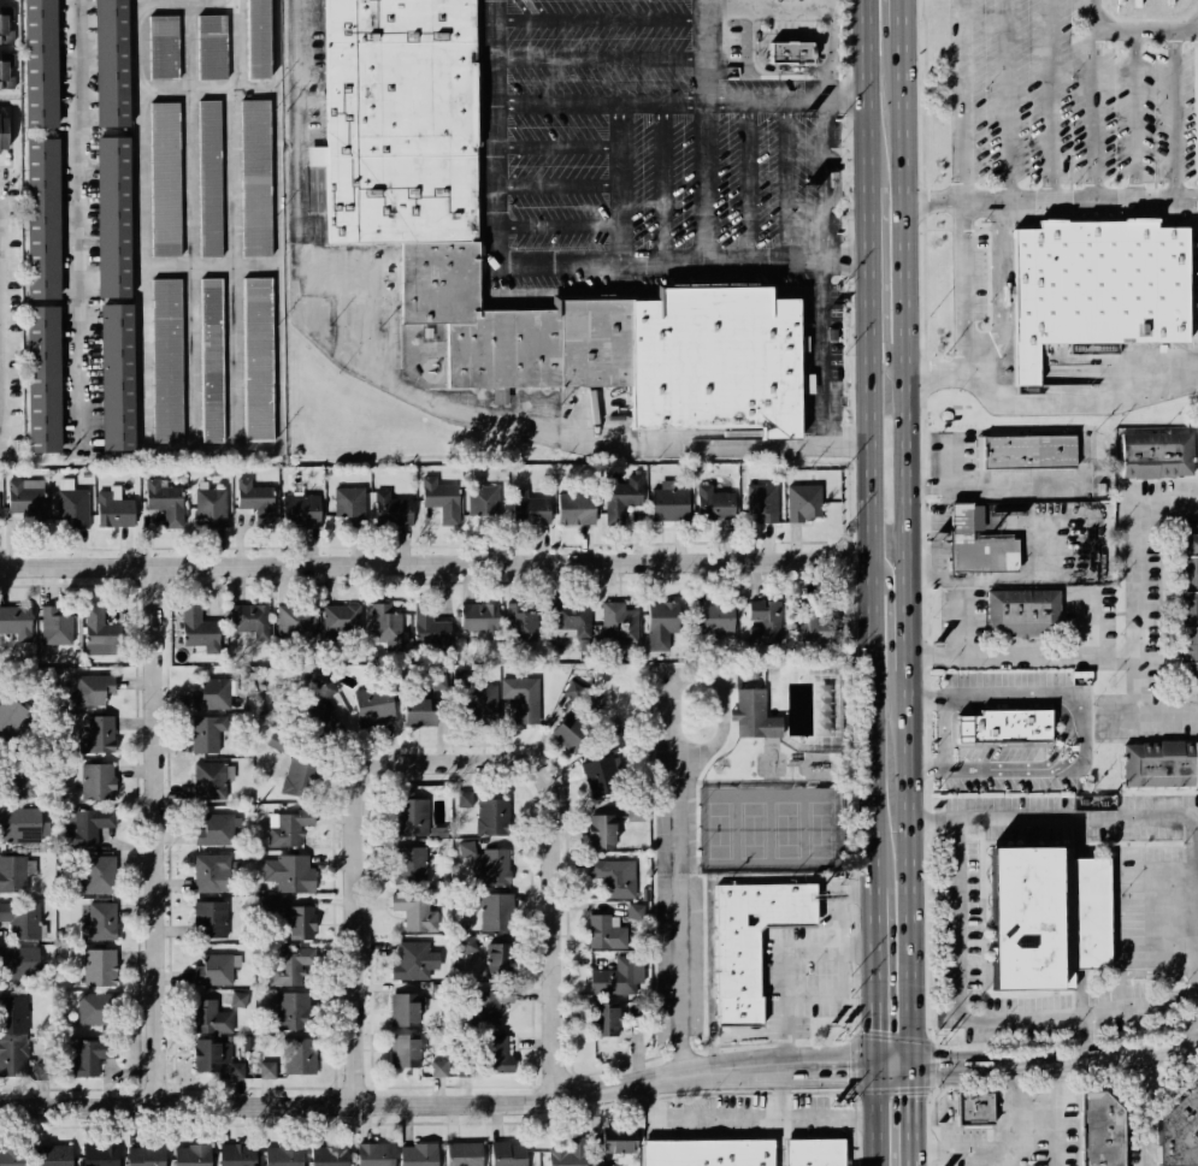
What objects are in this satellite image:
road: (828, 4)
road: (601, 20)
building: (6, 24)
road: (1131, 30)
building: (254, 39)
building: (163, 47)
building: (212, 47)
building: (781, 51)
road: (601, 59)
building: (41, 63)
building: (114, 63)
road: (765, 66)
building: (6, 70)
road: (223, 84)
road: (1007, 100)
road: (1050, 100)
road: (679, 101)
road: (1134, 113)
road: (1174, 113)
road: (1093, 114)
building: (402, 122)
road: (710, 132)
building: (5, 134)
road: (555, 146)
building: (165, 178)
building: (209, 178)
building: (255, 178)
road: (748, 178)
road: (786, 178)
road: (663, 179)
road: (618, 180)
road: (556, 183)
road: (1050, 200)
building: (116, 215)
road: (72, 218)
building: (43, 219)
road: (193, 225)
road: (237, 225)
road: (556, 225)
road: (846, 256)
road: (719, 258)
road: (144, 260)
road: (224, 262)
building: (1098, 288)
road: (1002, 294)
road: (960, 310)
road: (5, 319)
building: (519, 327)
road: (884, 338)
road: (826, 349)
building: (258, 359)
building: (721, 359)
building: (166, 360)
building: (211, 360)
road: (932, 373)
building: (119, 375)
building: (42, 377)
road: (415, 396)
building: (1025, 454)
building: (1156, 455)
road: (951, 463)
road: (987, 491)
building: (621, 497)
building: (255, 498)
building: (441, 498)
building: (26, 499)
building: (165, 499)
building: (350, 501)
building: (484, 501)
building: (716, 501)
building: (762, 502)
building: (211, 503)
building: (669, 503)
building: (804, 503)
building: (72, 505)
building: (531, 508)
building: (114, 509)
building: (394, 509)
building: (576, 509)
building: (302, 510)
building: (978, 546)
road: (1046, 549)
road: (435, 564)
road: (1137, 575)
road: (975, 576)
road: (869, 582)
road: (905, 582)
road: (887, 598)
building: (1187, 608)
building: (1023, 617)
building: (250, 618)
building: (480, 618)
building: (715, 620)
building: (17, 621)
building: (295, 621)
building: (571, 621)
building: (619, 621)
building: (765, 621)
building: (341, 622)
building: (520, 622)
building: (384, 623)
building: (815, 623)
building: (665, 625)
road: (1092, 625)
building: (55, 626)
building: (431, 627)
road: (963, 627)
building: (200, 628)
building: (102, 629)
road: (1021, 655)
building: (439, 680)
building: (320, 682)
building: (92, 688)
building: (574, 689)
building: (213, 693)
road: (1062, 694)
building: (521, 698)
road: (669, 704)
road: (985, 704)
building: (372, 706)
building: (483, 706)
building: (420, 711)
road: (1153, 711)
building: (751, 714)
building: (10, 717)
building: (324, 723)
building: (1004, 726)
building: (572, 732)
building: (100, 733)
building: (207, 733)
road: (944, 735)
building: (279, 741)
road: (1068, 741)
road: (786, 763)
road: (791, 763)
building: (1155, 763)
road: (925, 767)
road: (996, 767)
road: (789, 771)
park: (773, 773)
building: (602, 776)
building: (302, 779)
building: (19, 780)
building: (98, 780)
building: (208, 780)
road: (740, 781)
road: (795, 781)
building: (466, 798)
building: (636, 811)
building: (494, 817)
building: (412, 818)
road: (1052, 819)
building: (20, 823)
building: (85, 823)
road: (981, 825)
building: (290, 827)
building: (603, 827)
building: (216, 828)
park: (767, 830)
building: (441, 831)
road: (160, 836)
road: (1080, 837)
road: (555, 845)
building: (466, 847)
building: (409, 864)
road: (1155, 864)
building: (492, 866)
parking lot: (672, 870)
building: (209, 871)
road: (1156, 871)
building: (290, 872)
building: (12, 874)
building: (100, 874)
building: (615, 875)
road: (1156, 880)
road: (1156, 888)
road: (1155, 900)
road: (1155, 907)
building: (413, 910)
building: (494, 910)
building: (635, 911)
road: (981, 913)
road: (1155, 915)
road: (963, 916)
road: (975, 916)
building: (1047, 916)
building: (209, 918)
building: (20, 919)
building: (100, 921)
building: (301, 923)
road: (1156, 923)
building: (464, 925)
road: (974, 928)
road: (962, 929)
road: (1197, 930)
road: (1155, 931)
building: (606, 933)
road: (361, 937)
building: (754, 937)
road: (1155, 940)
building: (467, 943)
road: (1156, 947)
road: (963, 955)
road: (975, 955)
road: (1156, 955)
building: (502, 958)
building: (413, 960)
building: (19, 964)
building: (290, 964)
building: (98, 966)
building: (214, 970)
road: (1144, 971)
building: (616, 975)
road: (837, 976)
road: (783, 981)
building: (439, 992)
road: (1080, 993)
road: (678, 996)
building: (238, 999)
building: (491, 1001)
road: (982, 1007)
building: (96, 1008)
building: (406, 1008)
building: (293, 1011)
building: (14, 1013)
building: (212, 1016)
road: (980, 1017)
building: (608, 1020)
road: (892, 1037)
road: (1086, 1037)
road: (1172, 1048)
building: (406, 1050)
building: (213, 1053)
building: (495, 1054)
road: (1132, 1054)
building: (90, 1055)
building: (300, 1055)
building: (13, 1058)
road: (1103, 1059)
road: (855, 1063)
road: (932, 1064)
traffic signals: (911, 1067)
building: (267, 1069)
building: (441, 1069)
traffic signals: (874, 1069)
building: (43, 1071)
building: (236, 1071)
road: (1145, 1072)
road: (1123, 1078)
road: (893, 1089)
road: (544, 1100)
building: (969, 1107)
road: (927, 1112)
road: (1055, 1114)
building: (1176, 1124)
building: (1097, 1127)
road: (1143, 1127)
building: (618, 1138)
road: (778, 1142)
road: (1002, 1149)
road: (928, 1150)
building: (707, 1152)
building: (814, 1152)
building: (237, 1153)
building: (568, 1153)
building: (101, 1154)
building: (146, 1154)
building: (283, 1154)
building: (329, 1154)
building: (376, 1154)
building: (418, 1154)
building: (462, 1154)
building: (508, 1154)
building: (57, 1155)
building: (191, 1155)
building: (12, 1156)
road: (928, 1164)

